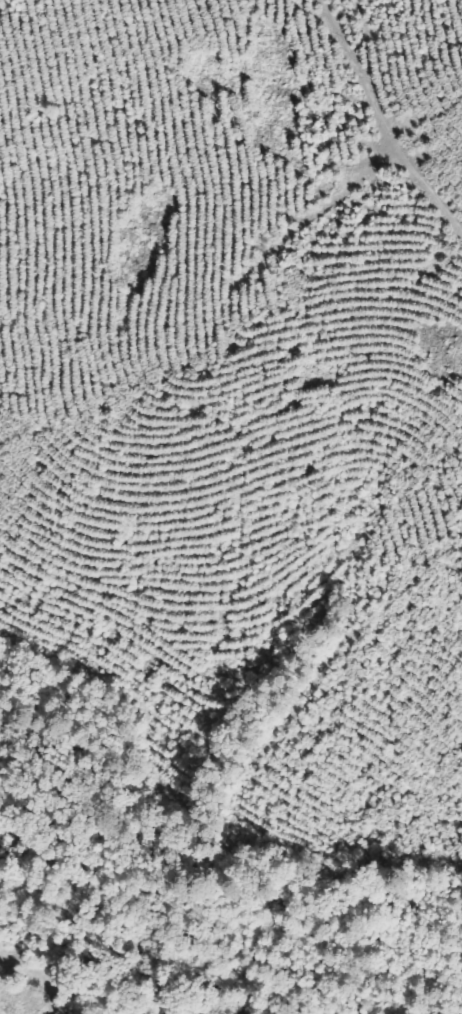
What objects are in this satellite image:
road: (385, 119)

